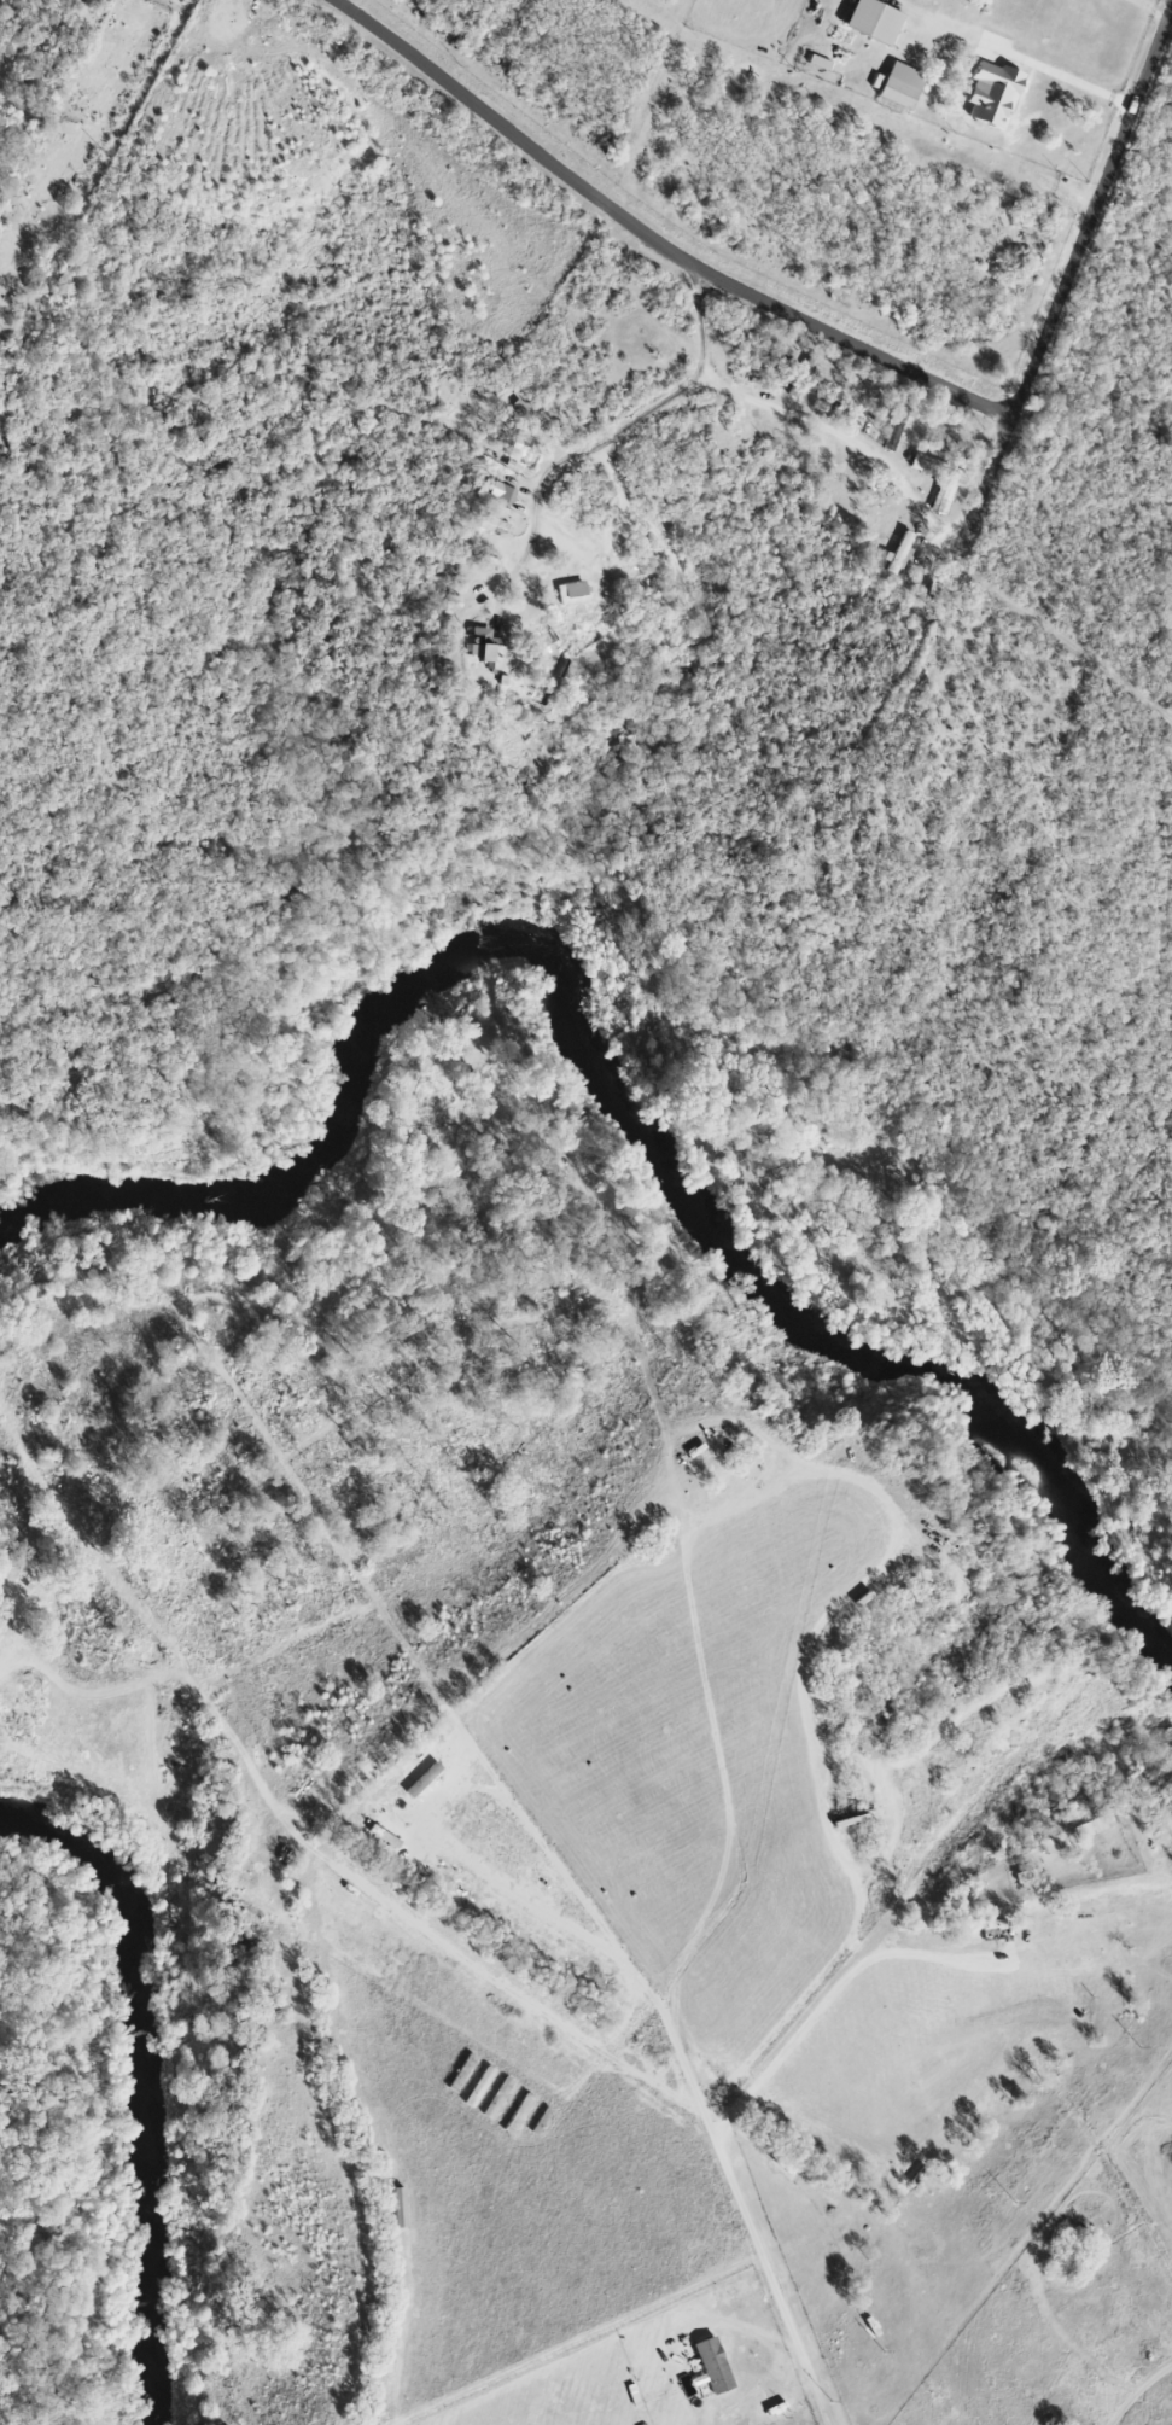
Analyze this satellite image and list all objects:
road: (1148, 8)
building: (871, 19)
road: (1068, 80)
building: (899, 84)
building: (991, 93)
road: (654, 240)
road: (1066, 279)
road: (699, 319)
road: (815, 420)
building: (520, 445)
road: (585, 449)
building: (512, 466)
building: (502, 491)
building: (943, 492)
building: (494, 524)
building: (898, 553)
building: (571, 593)
road: (1062, 636)
building: (488, 653)
road: (880, 700)
river: (611, 1078)
road: (834, 1467)
road: (433, 1820)
building: (381, 1835)
river: (141, 2081)
building: (398, 2207)
road: (772, 2270)
road: (752, 2331)
building: (712, 2365)

